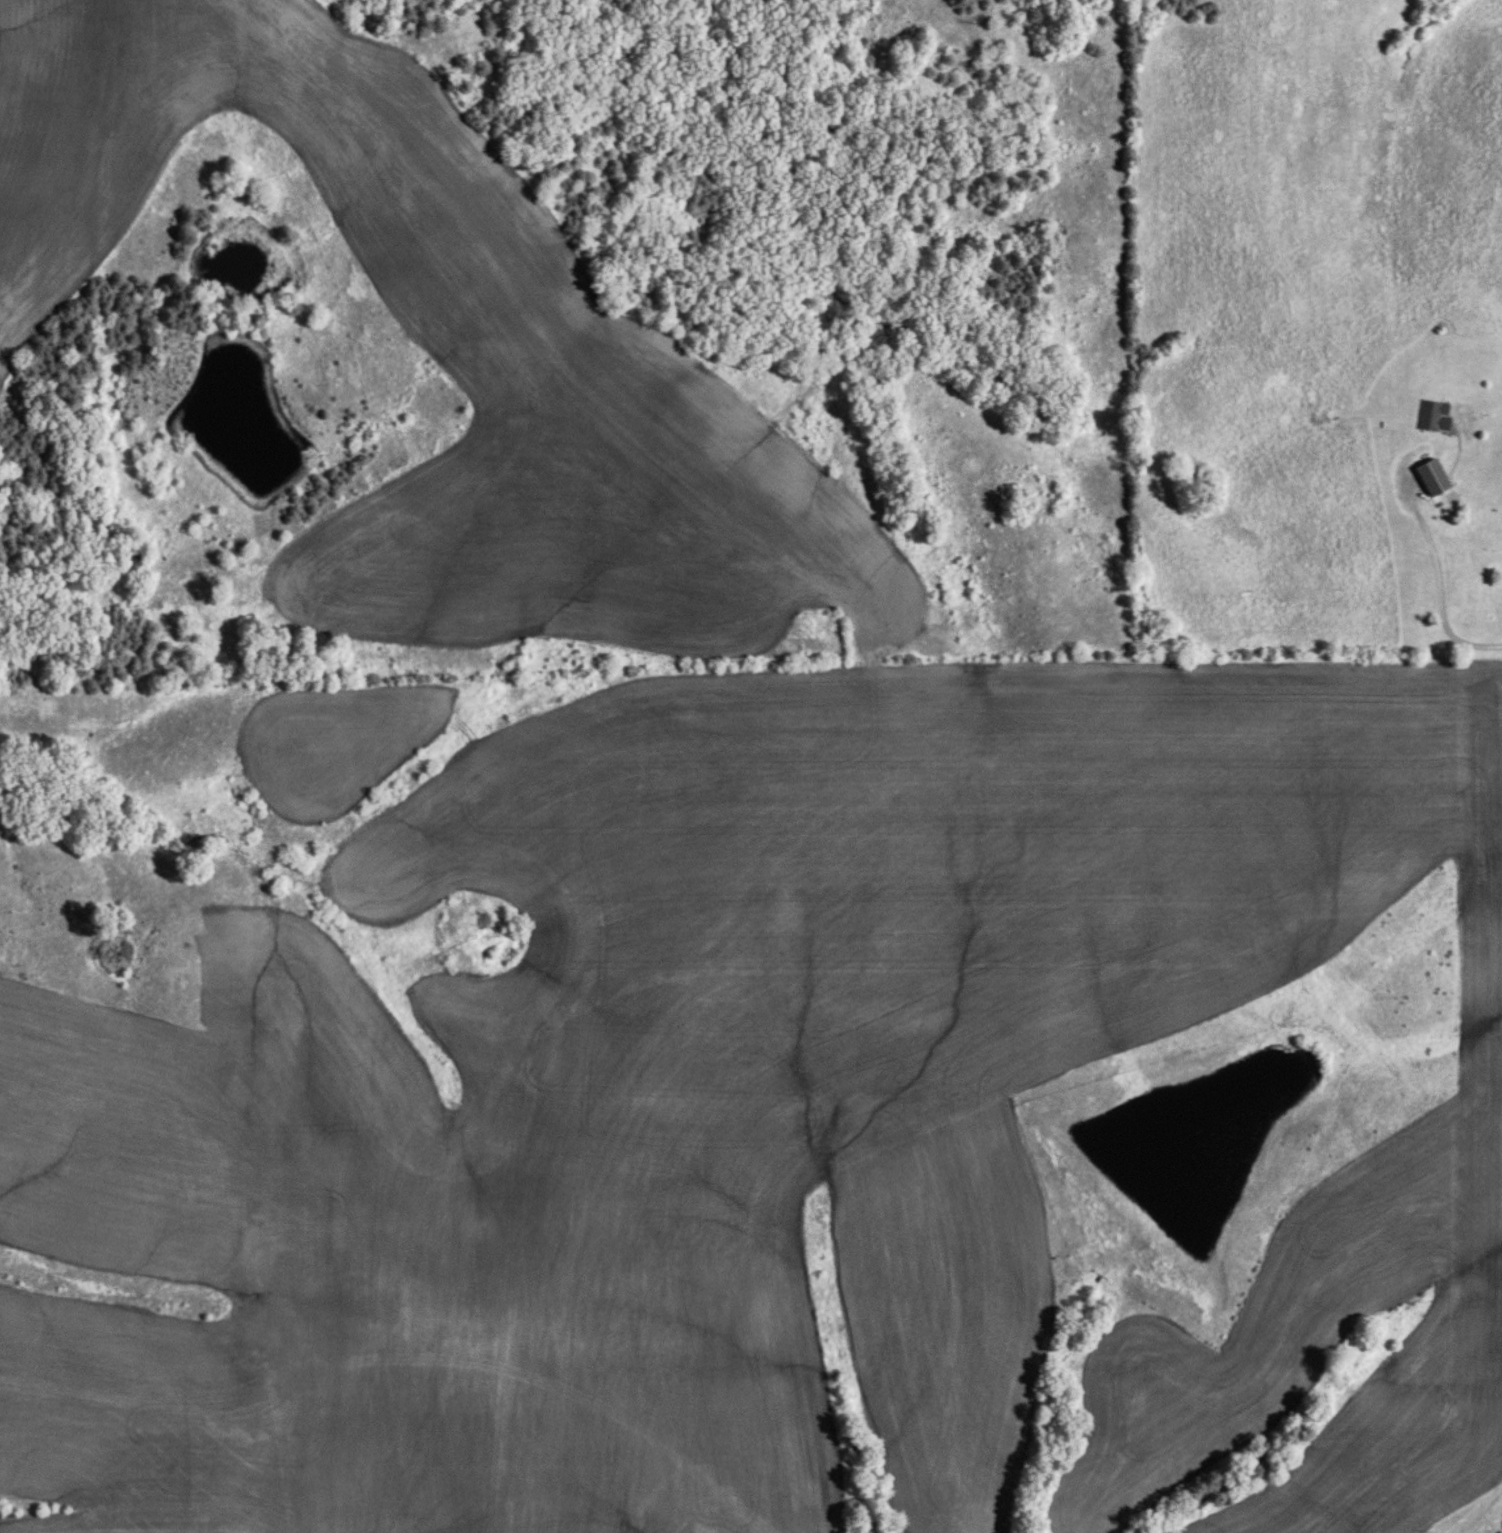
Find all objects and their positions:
building: (1430, 415)
building: (1433, 478)
road: (1465, 482)
road: (1439, 597)

